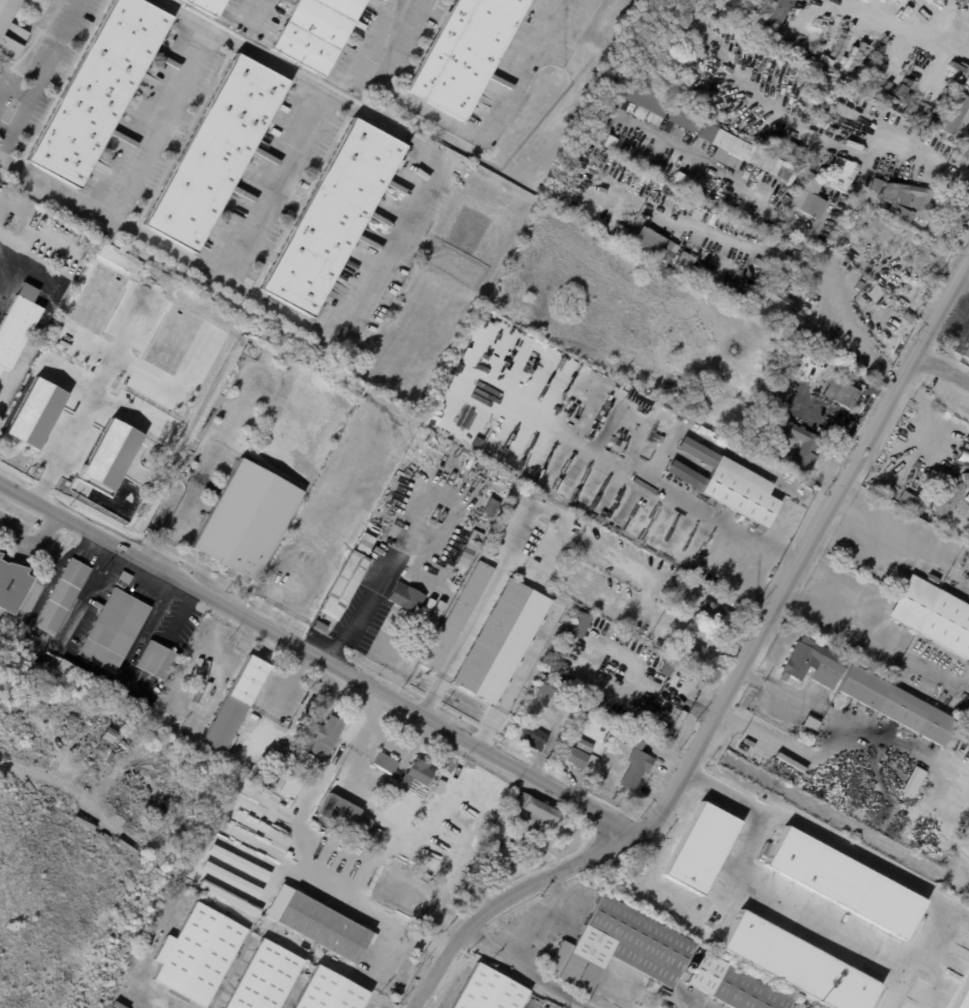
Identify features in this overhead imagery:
building: (208, 6)
road: (250, 12)
building: (777, 13)
road: (891, 25)
building: (10, 31)
building: (317, 32)
building: (465, 53)
road: (39, 73)
building: (99, 89)
road: (13, 90)
building: (640, 99)
road: (314, 102)
road: (140, 111)
building: (955, 114)
building: (683, 123)
road: (166, 126)
road: (457, 126)
road: (4, 129)
building: (968, 130)
building: (936, 140)
building: (217, 152)
building: (632, 152)
building: (752, 154)
building: (453, 159)
building: (662, 168)
building: (840, 171)
building: (687, 182)
building: (714, 196)
building: (788, 201)
building: (911, 203)
building: (808, 206)
building: (740, 210)
building: (332, 216)
building: (432, 216)
building: (790, 239)
building: (653, 244)
road: (4, 246)
building: (812, 252)
building: (684, 260)
building: (773, 262)
building: (701, 275)
building: (798, 275)
building: (783, 289)
road: (838, 289)
building: (777, 298)
road: (265, 302)
building: (16, 330)
building: (844, 343)
building: (827, 349)
building: (966, 352)
road: (946, 370)
building: (797, 374)
building: (785, 375)
building: (696, 395)
building: (844, 395)
building: (809, 450)
road: (206, 471)
building: (729, 485)
building: (947, 496)
building: (967, 497)
building: (910, 501)
building: (493, 508)
building: (247, 520)
road: (33, 542)
building: (366, 544)
road: (901, 551)
building: (0, 556)
building: (534, 569)
building: (678, 574)
building: (931, 579)
building: (674, 582)
building: (346, 586)
road: (372, 586)
building: (13, 587)
building: (669, 589)
building: (700, 592)
building: (64, 598)
building: (407, 598)
building: (715, 614)
building: (932, 615)
road: (179, 616)
building: (458, 617)
building: (582, 626)
building: (322, 627)
building: (116, 630)
building: (492, 636)
road: (880, 638)
building: (660, 644)
building: (693, 651)
building: (157, 661)
road: (320, 663)
road: (90, 664)
building: (813, 664)
building: (668, 668)
road: (515, 677)
road: (285, 685)
road: (733, 687)
building: (105, 688)
building: (550, 693)
building: (239, 704)
building: (896, 707)
road: (398, 722)
building: (678, 723)
building: (807, 727)
road: (258, 733)
building: (328, 736)
building: (536, 738)
road: (387, 746)
building: (586, 746)
building: (575, 757)
building: (638, 762)
building: (386, 763)
building: (475, 767)
road: (896, 768)
building: (417, 775)
building: (912, 782)
road: (727, 792)
building: (347, 815)
building: (536, 815)
building: (385, 828)
building: (179, 830)
building: (375, 836)
building: (700, 847)
building: (212, 880)
building: (841, 882)
road: (906, 884)
building: (466, 887)
building: (968, 901)
road: (800, 913)
road: (554, 919)
building: (323, 926)
building: (621, 947)
building: (198, 955)
building: (796, 963)
road: (529, 970)
building: (267, 977)
building: (732, 985)
building: (489, 990)
building: (331, 992)
building: (962, 995)
building: (800, 1005)

